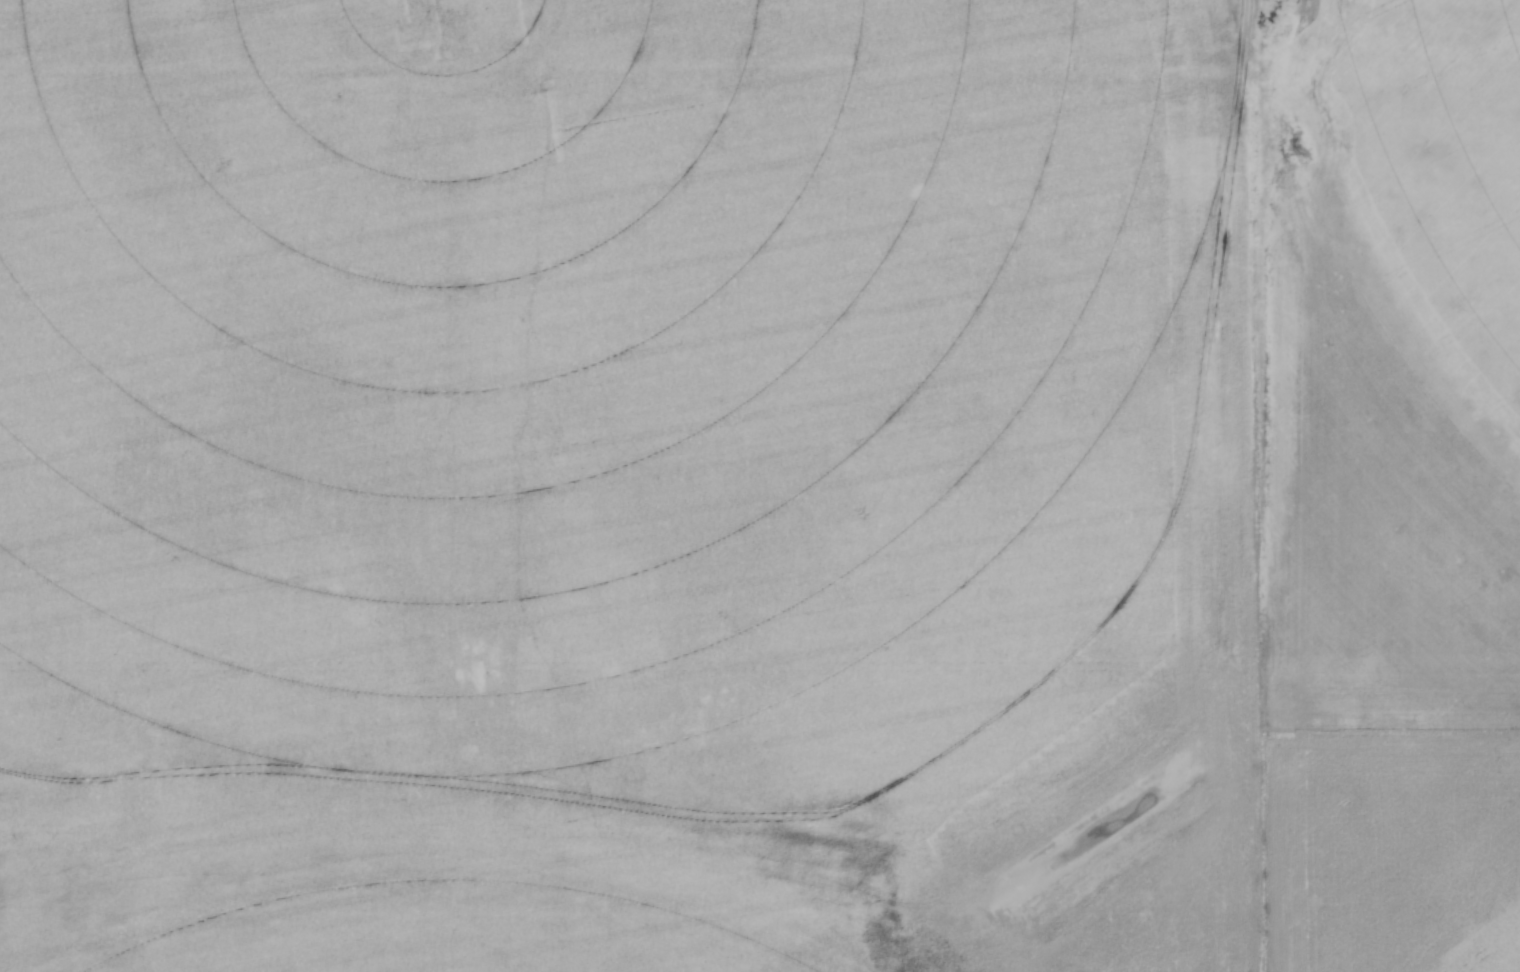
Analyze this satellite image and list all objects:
crop: (760, 486)

